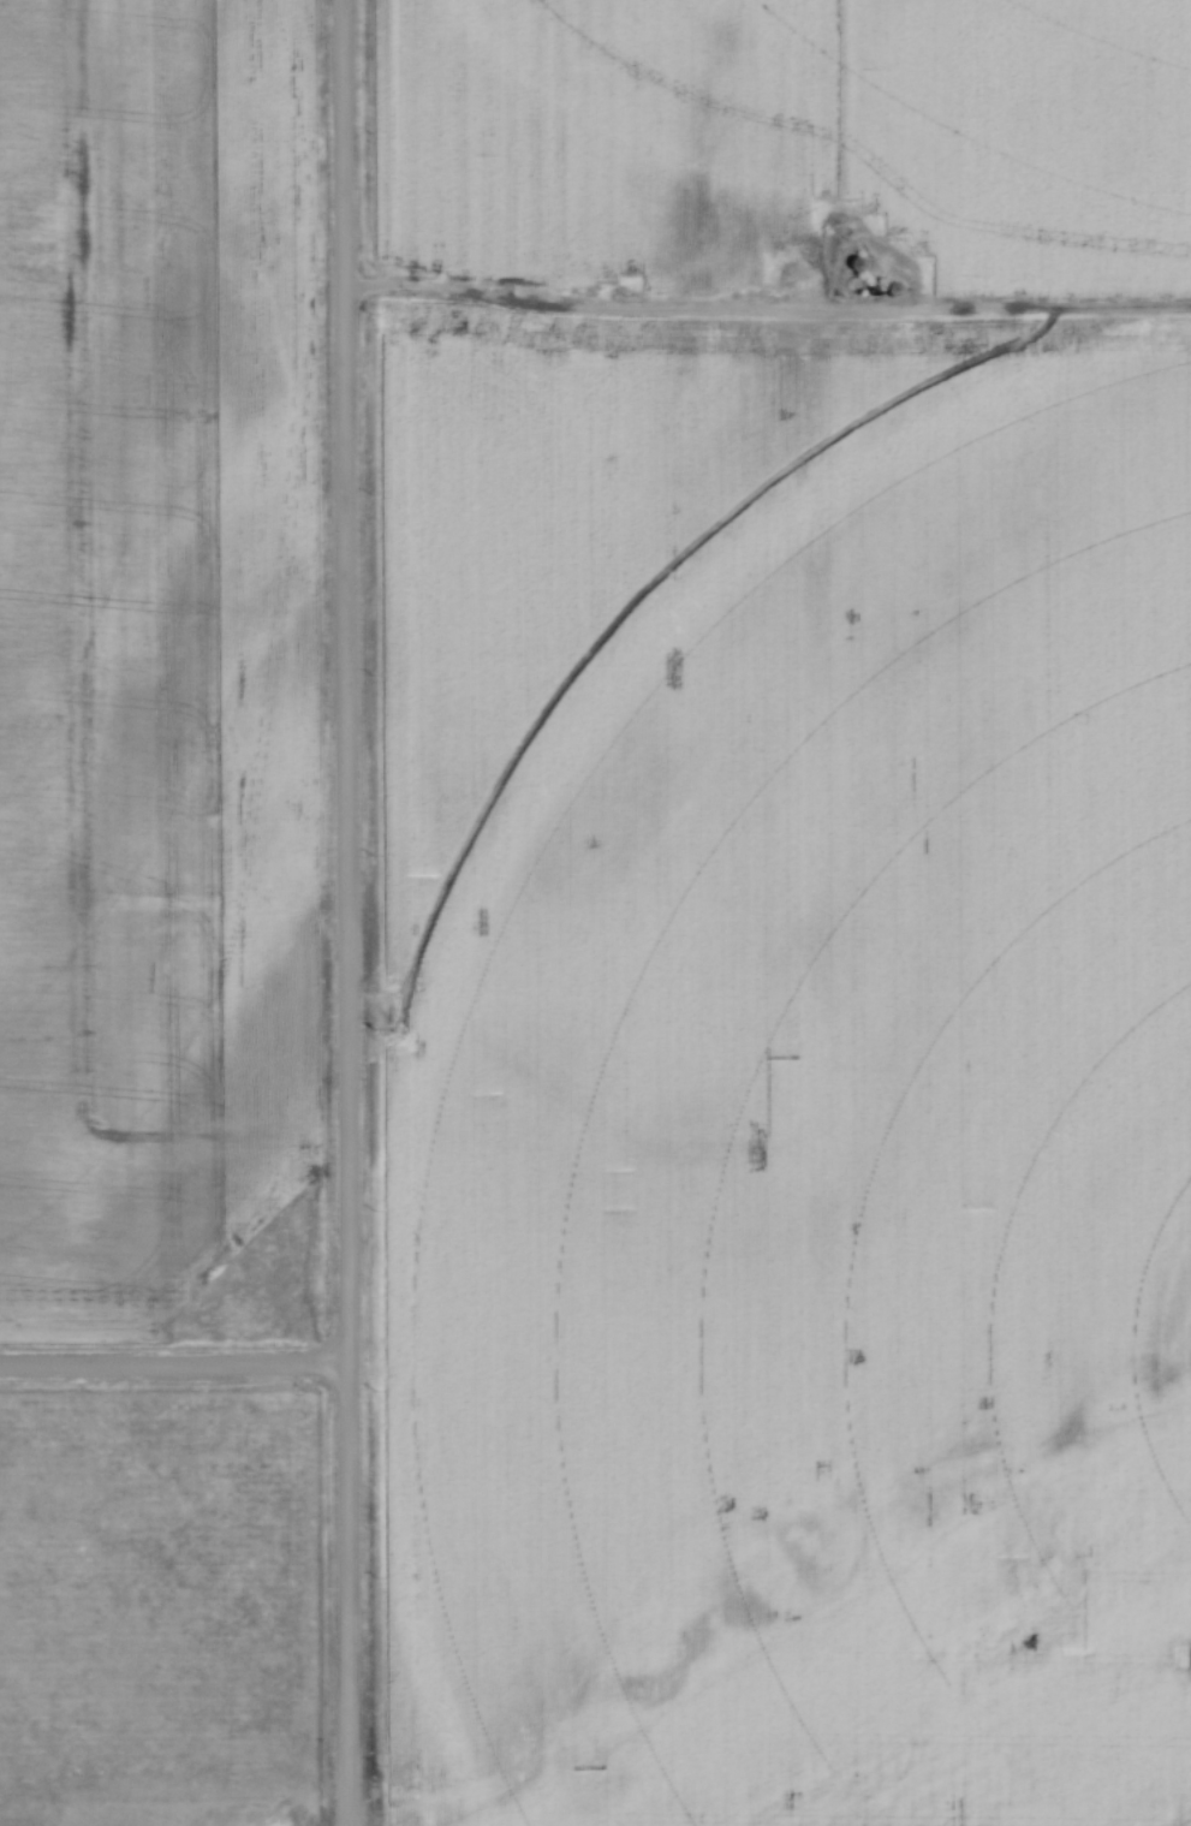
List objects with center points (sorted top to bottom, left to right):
road: (341, 912)
road: (172, 1369)

